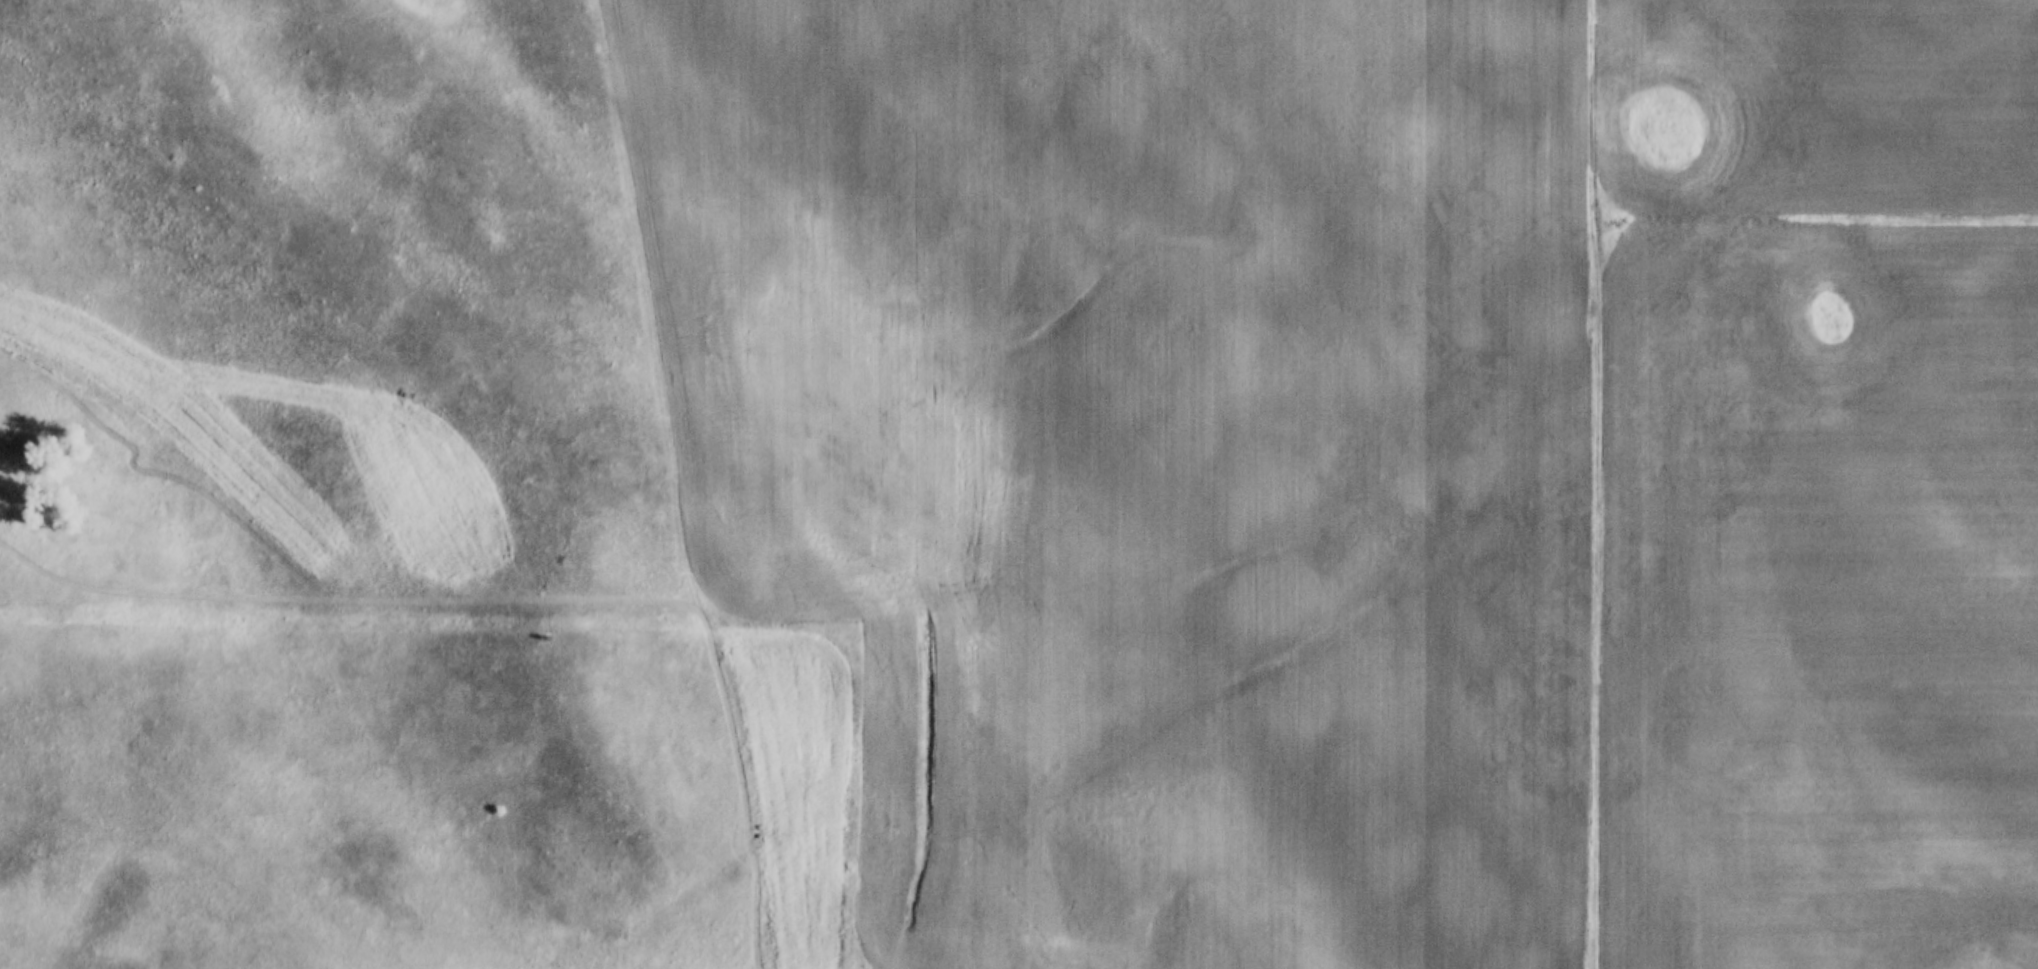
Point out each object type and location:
road: (1579, 484)

